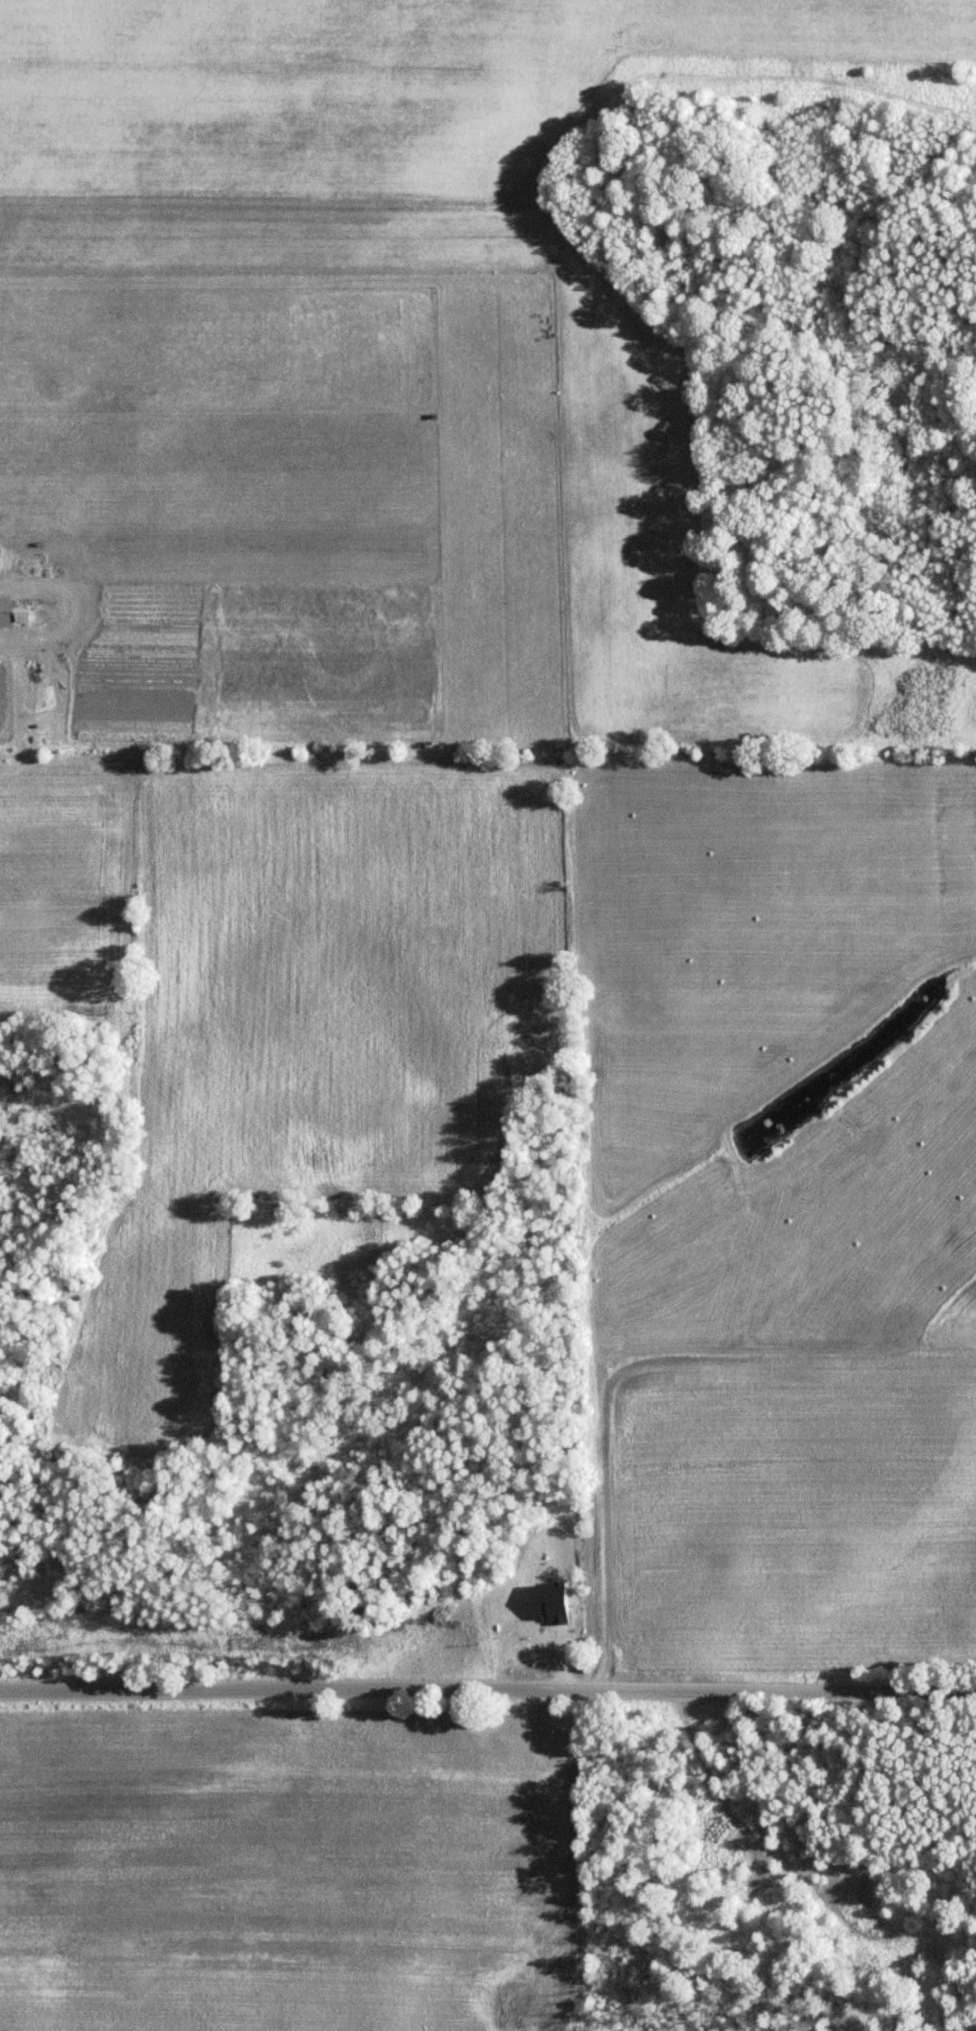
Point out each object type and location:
road: (488, 1685)

